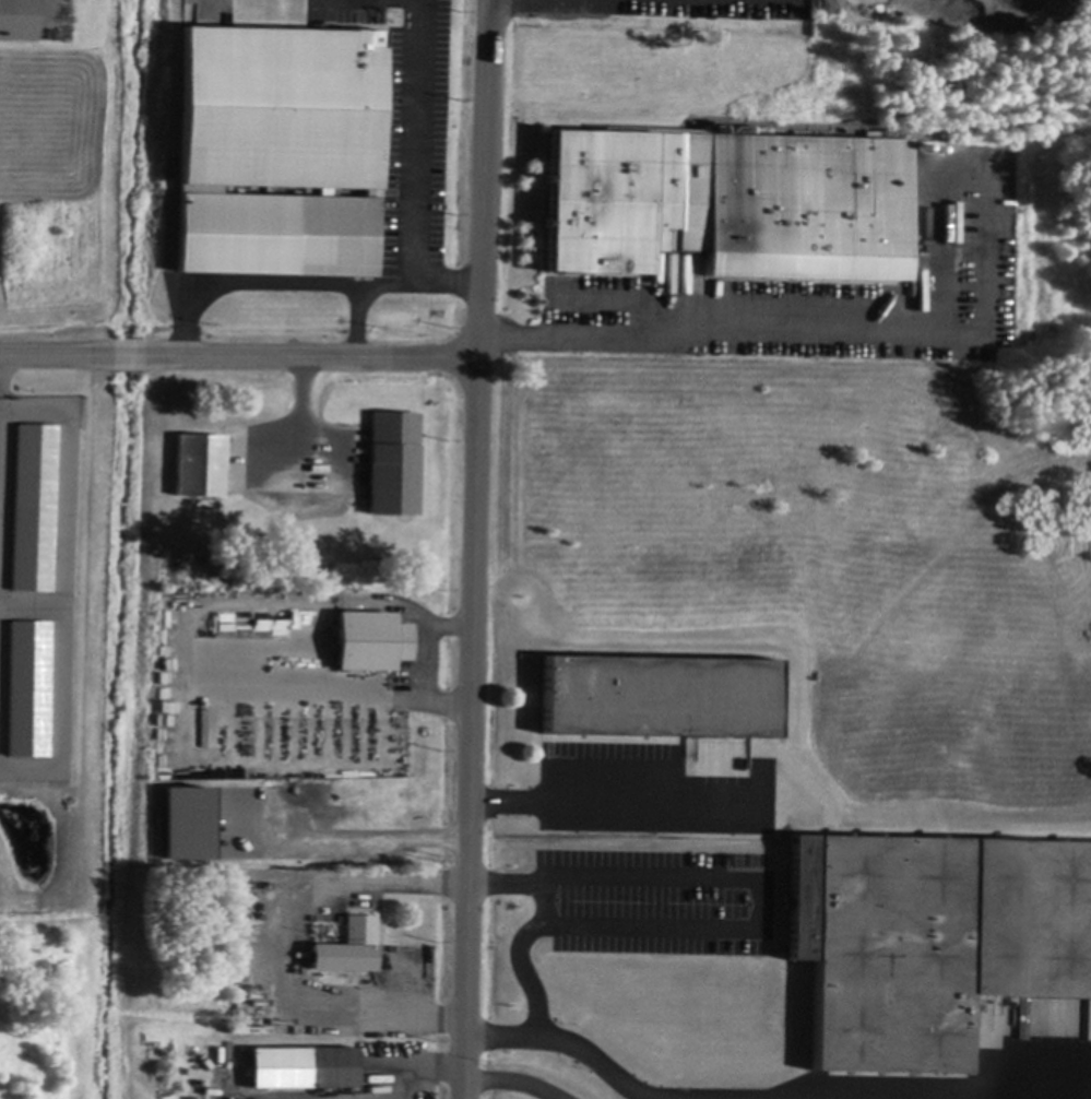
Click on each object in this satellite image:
building: (16, 21)
road: (415, 142)
building: (277, 154)
building: (727, 205)
road: (299, 284)
building: (720, 289)
road: (356, 322)
road: (699, 330)
road: (238, 359)
road: (300, 419)
building: (393, 465)
building: (200, 466)
building: (32, 508)
road: (473, 548)
road: (62, 590)
road: (31, 605)
building: (371, 643)
road: (425, 661)
building: (26, 689)
building: (660, 698)
building: (185, 823)
road: (542, 903)
road: (749, 924)
road: (275, 941)
building: (930, 942)
building: (348, 950)
road: (416, 1065)
building: (333, 1070)
road: (510, 1083)
road: (761, 1097)

